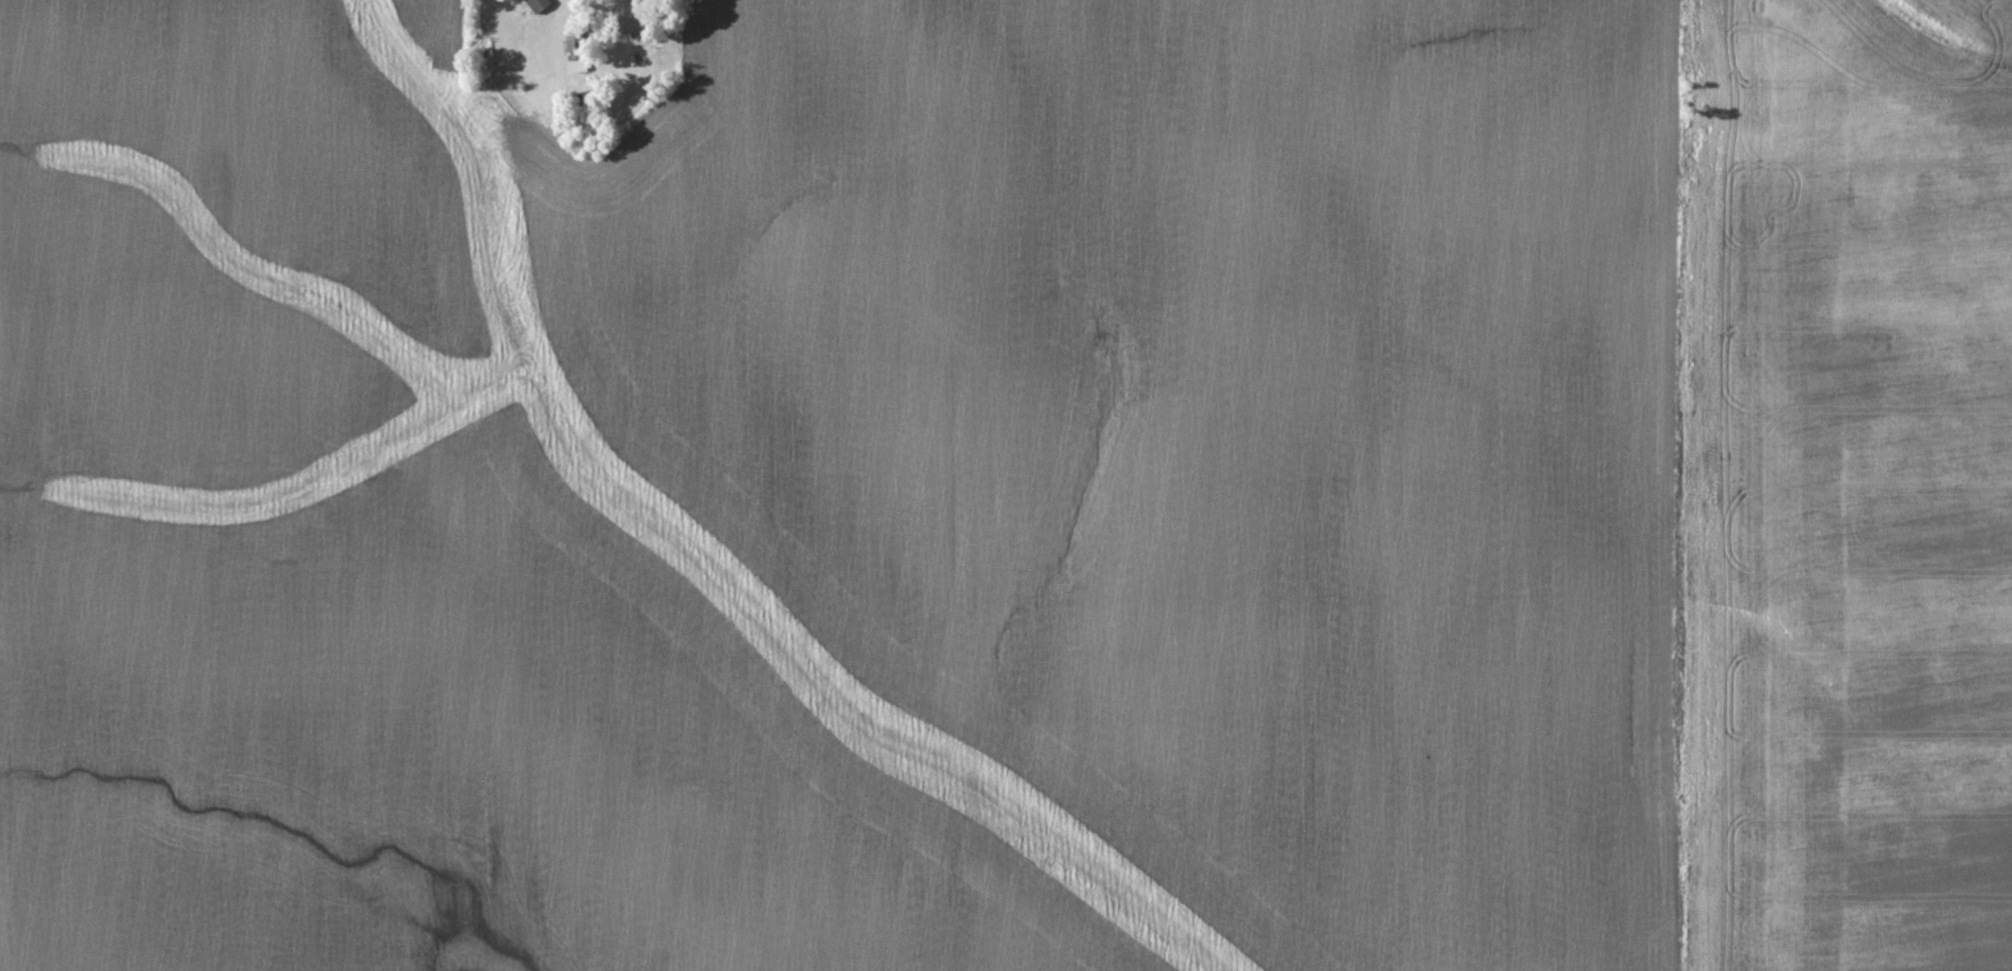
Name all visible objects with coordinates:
building: (536, 5)

